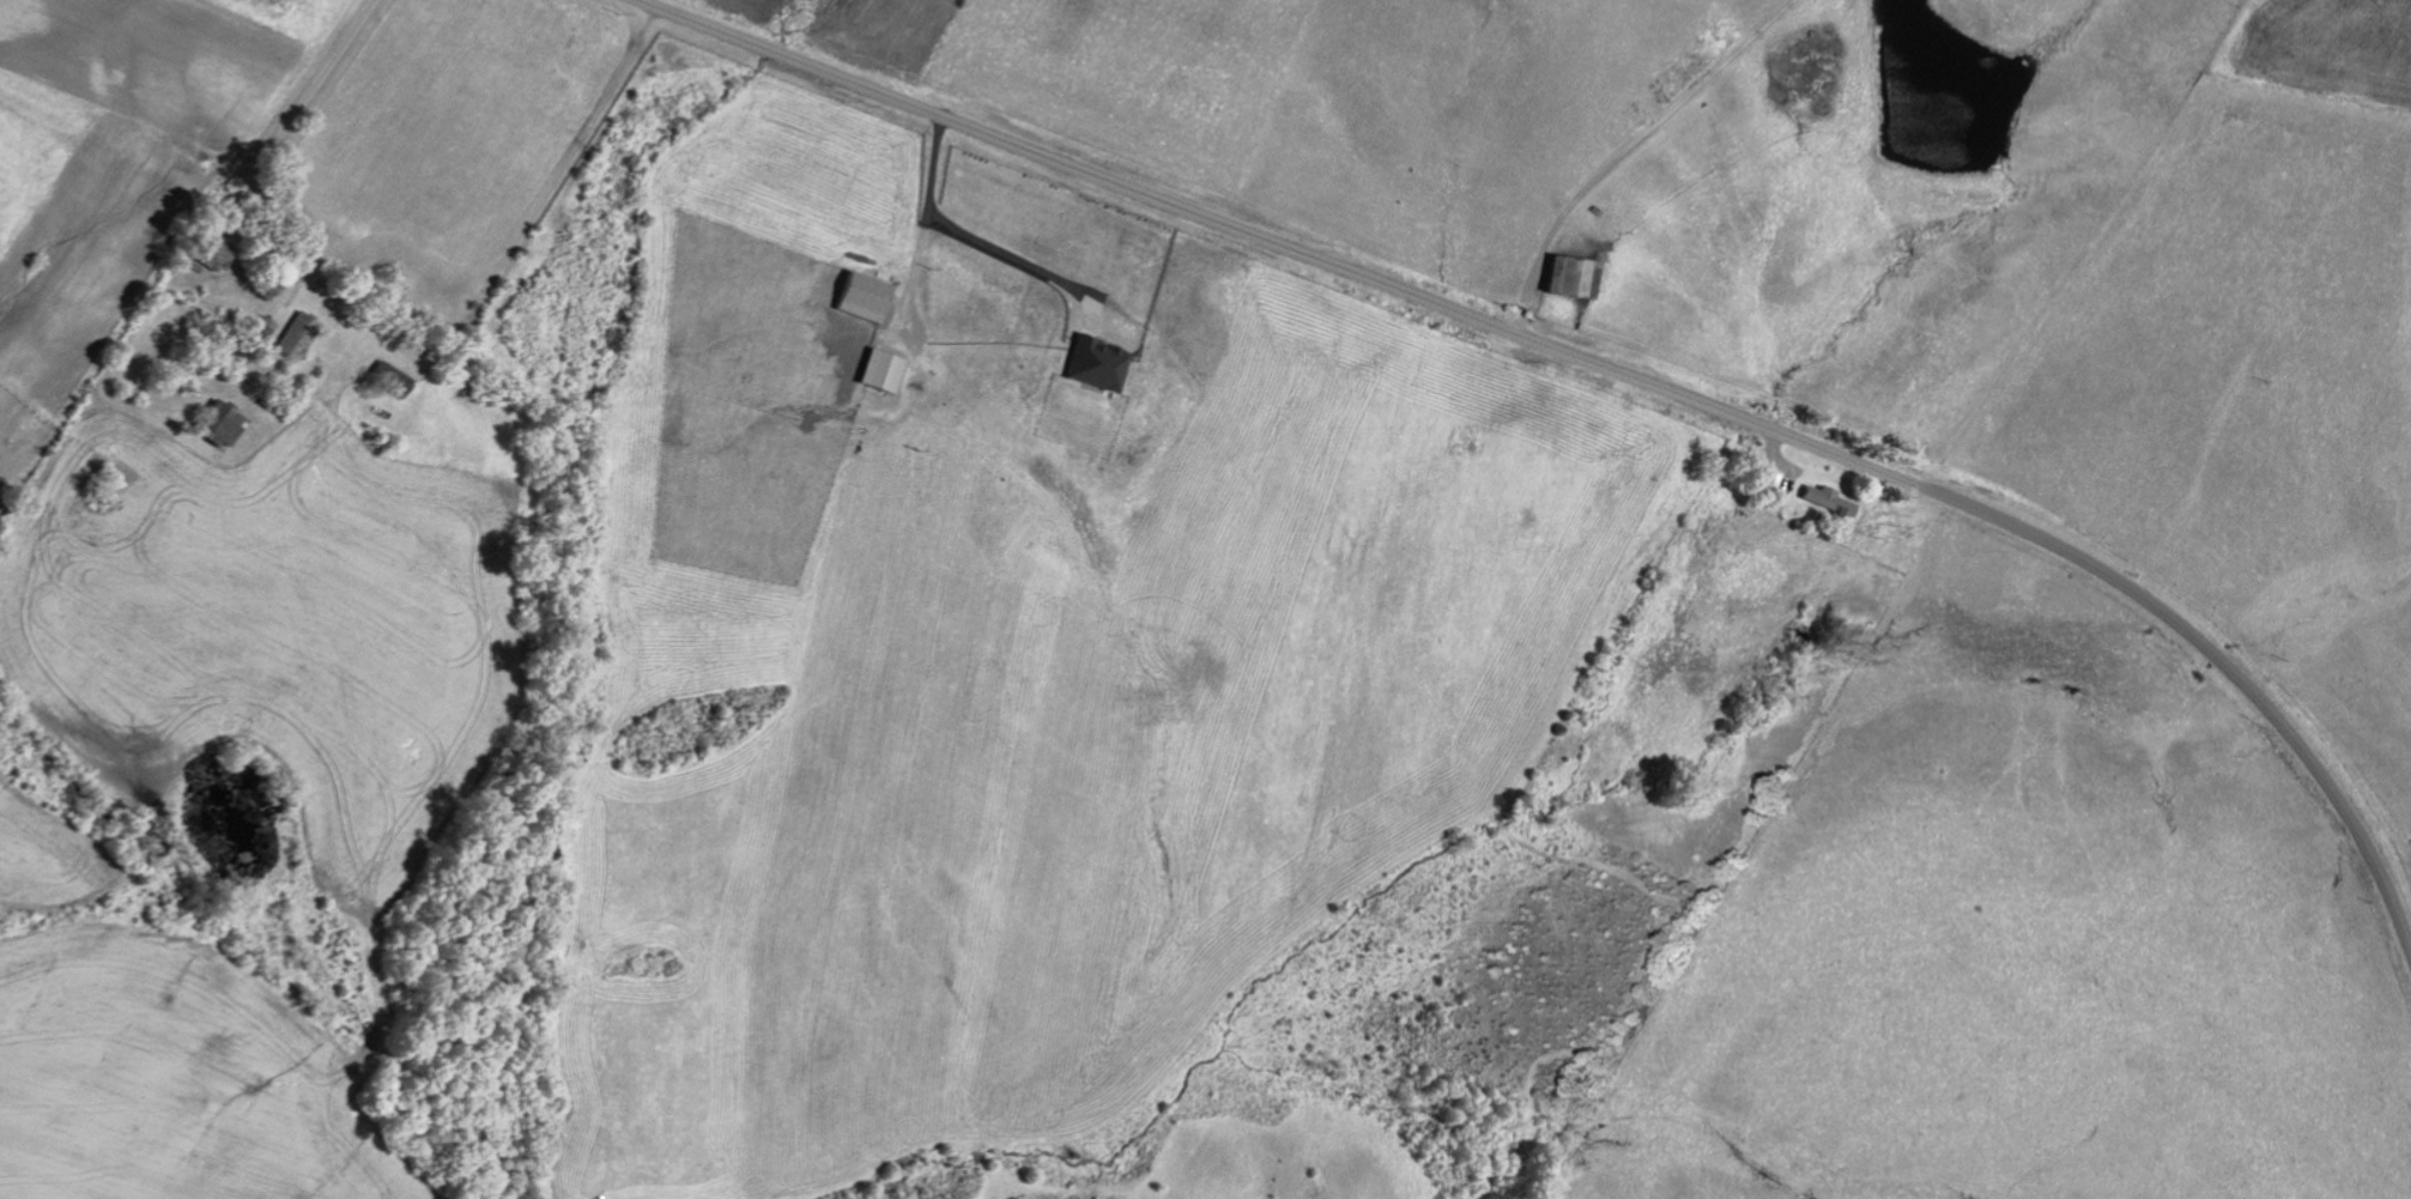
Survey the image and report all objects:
road: (261, 108)
road: (1630, 149)
road: (975, 235)
building: (217, 254)
building: (1571, 279)
building: (864, 296)
building: (265, 327)
building: (299, 335)
building: (1097, 364)
road: (1603, 368)
building: (883, 370)
building: (392, 377)
building: (223, 423)
building: (1770, 482)
building: (1829, 499)

